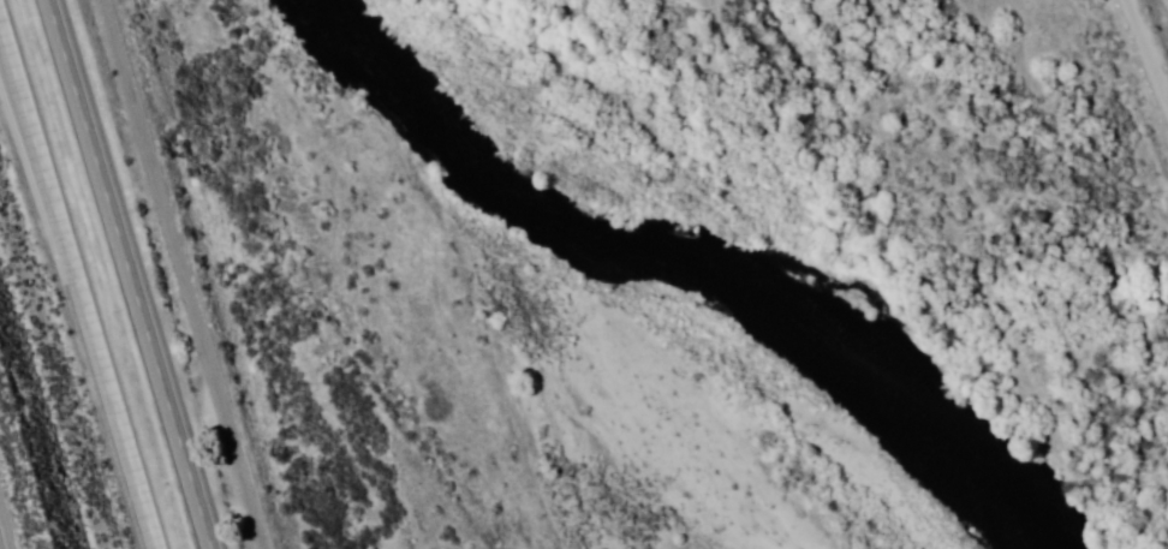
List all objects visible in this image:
road: (1162, 13)
road: (131, 274)
road: (184, 274)
river: (679, 275)
road: (78, 285)
road: (2, 537)

